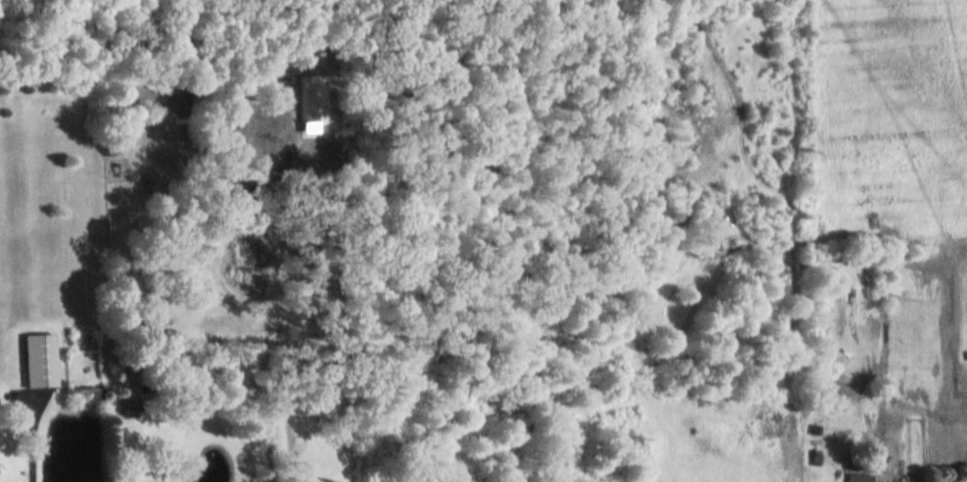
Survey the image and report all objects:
building: (36, 362)
building: (127, 396)
road: (30, 441)
building: (857, 478)

